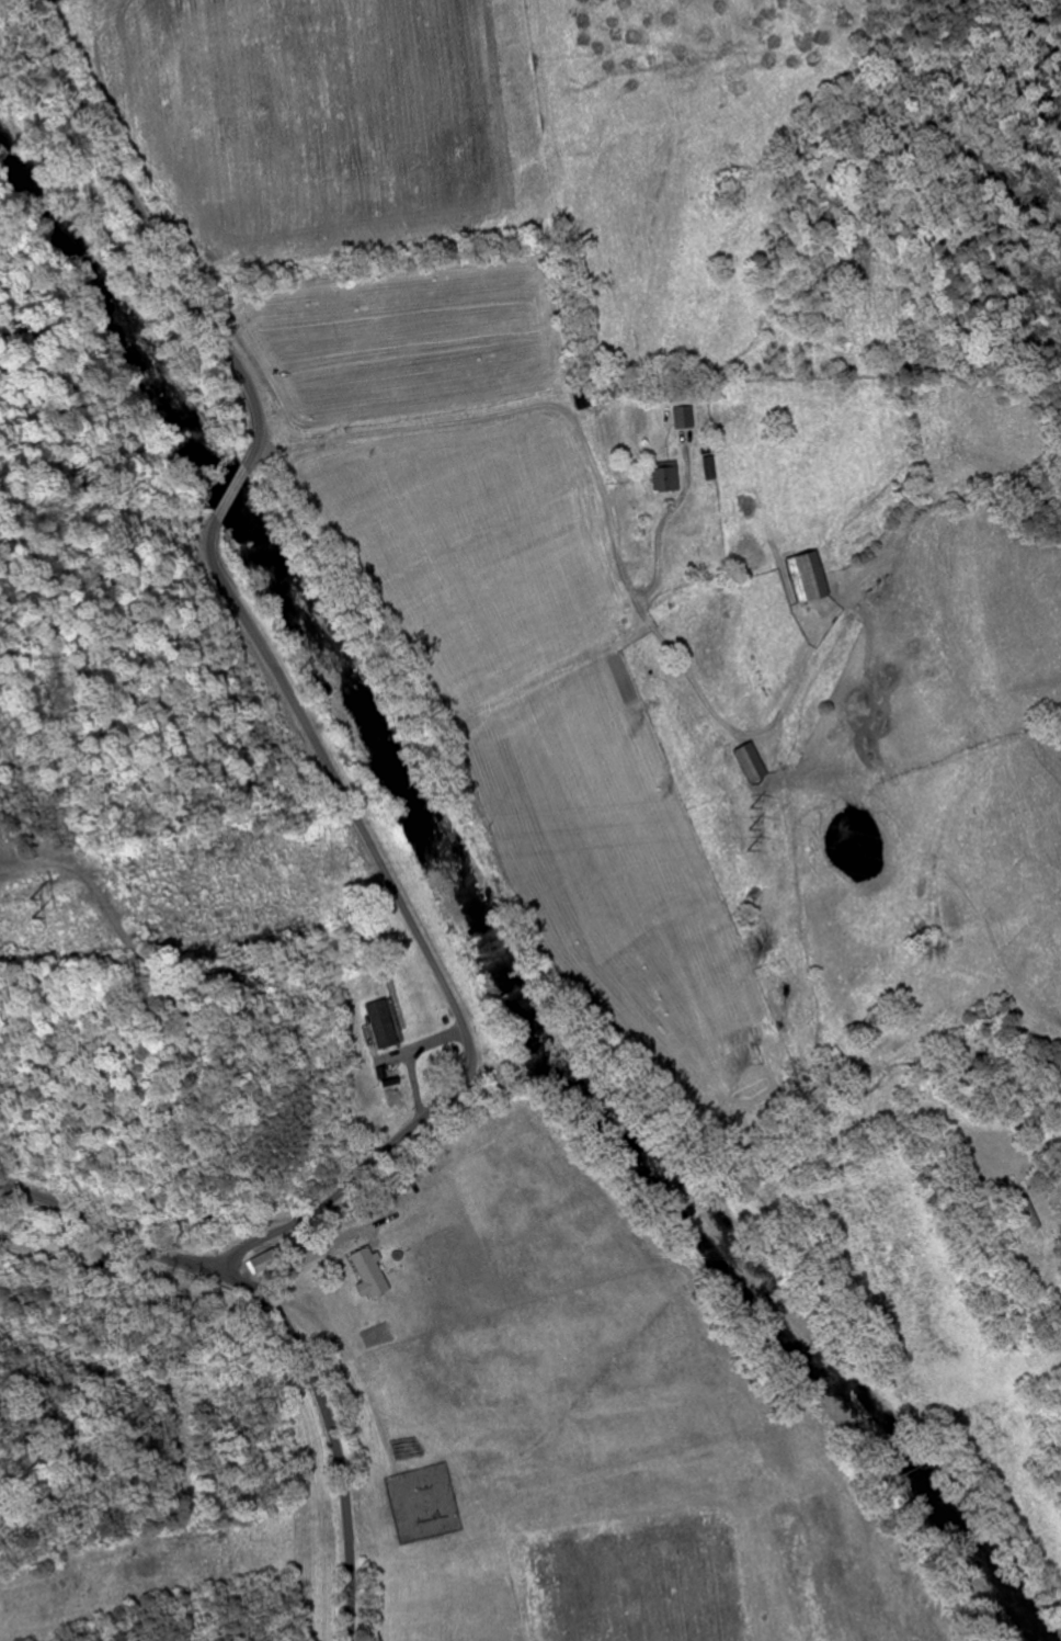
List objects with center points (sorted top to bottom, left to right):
building: (583, 399)
road: (500, 414)
building: (683, 417)
building: (665, 478)
road: (651, 546)
building: (803, 577)
road: (281, 679)
road: (725, 731)
building: (748, 762)
power tower: (753, 826)
power tower: (52, 901)
building: (386, 1025)
road: (733, 1170)
building: (270, 1263)
building: (373, 1274)
road: (292, 1323)

